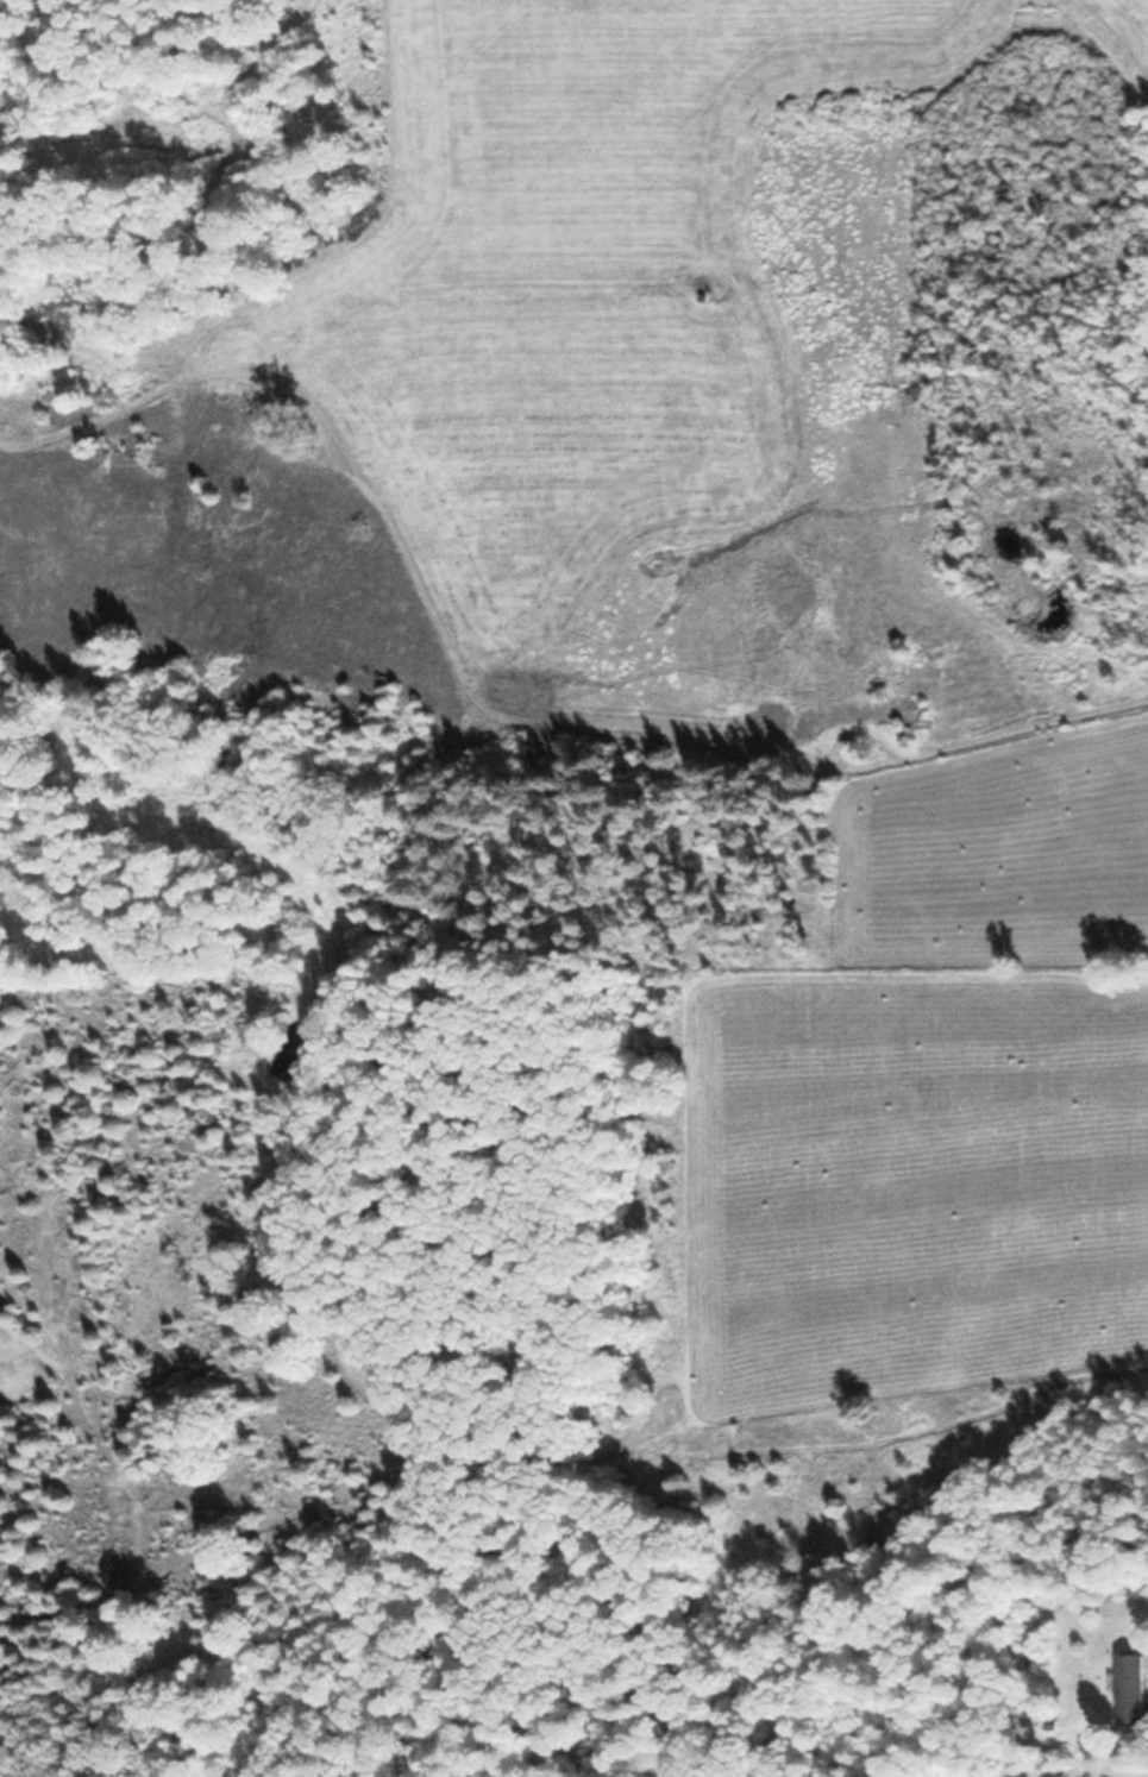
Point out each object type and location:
building: (1130, 1689)

